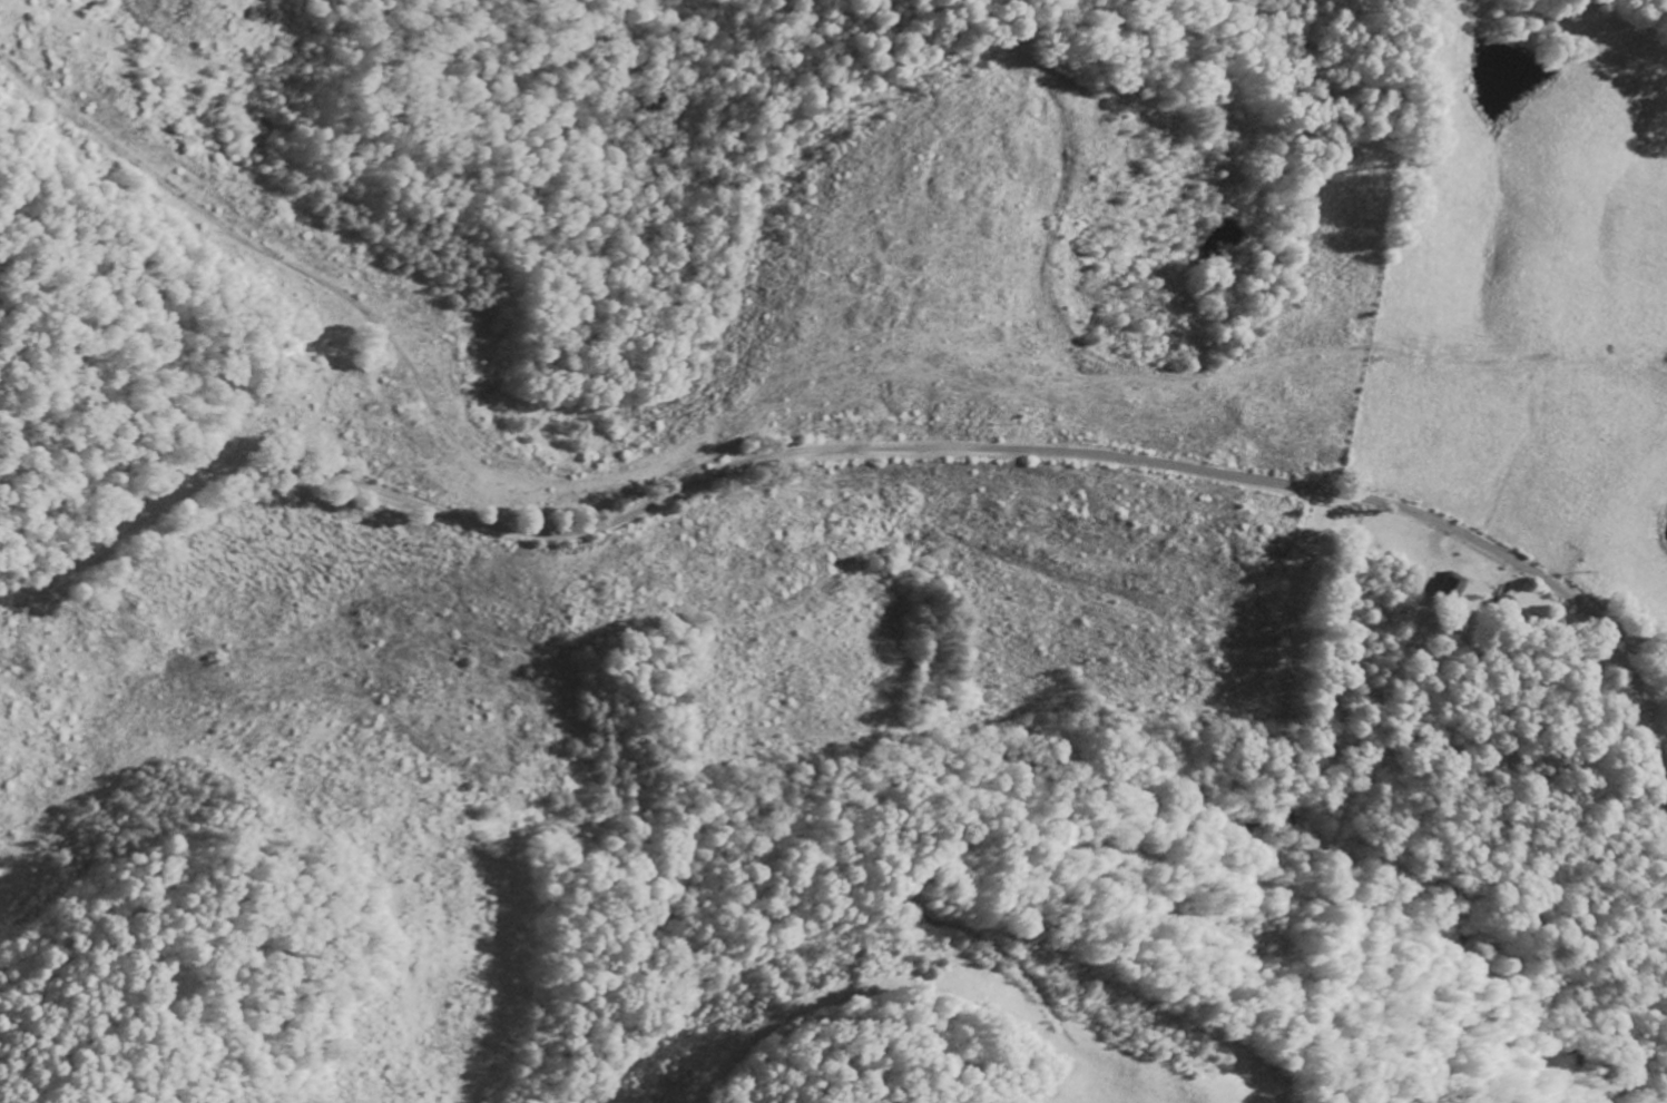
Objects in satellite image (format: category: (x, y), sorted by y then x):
road: (830, 450)
building: (1451, 587)

